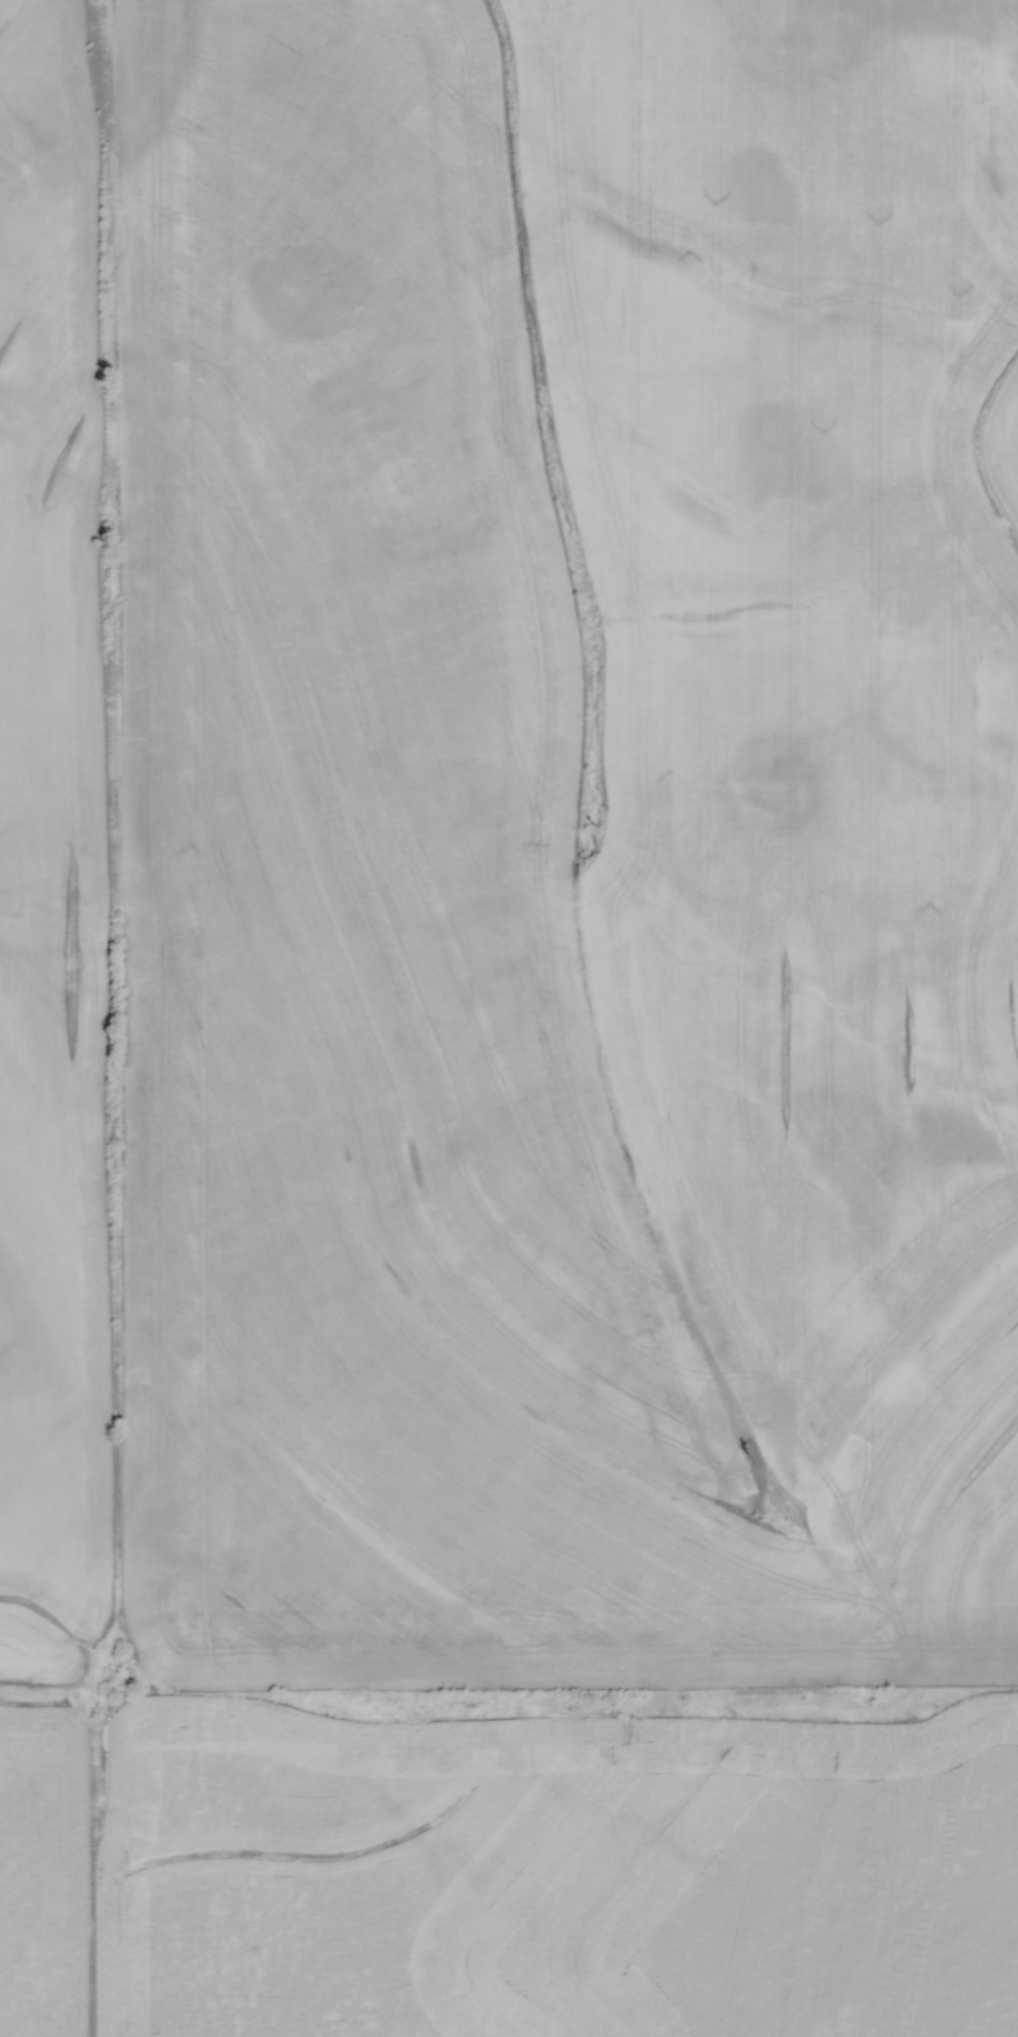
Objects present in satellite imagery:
building: (836, 1861)

